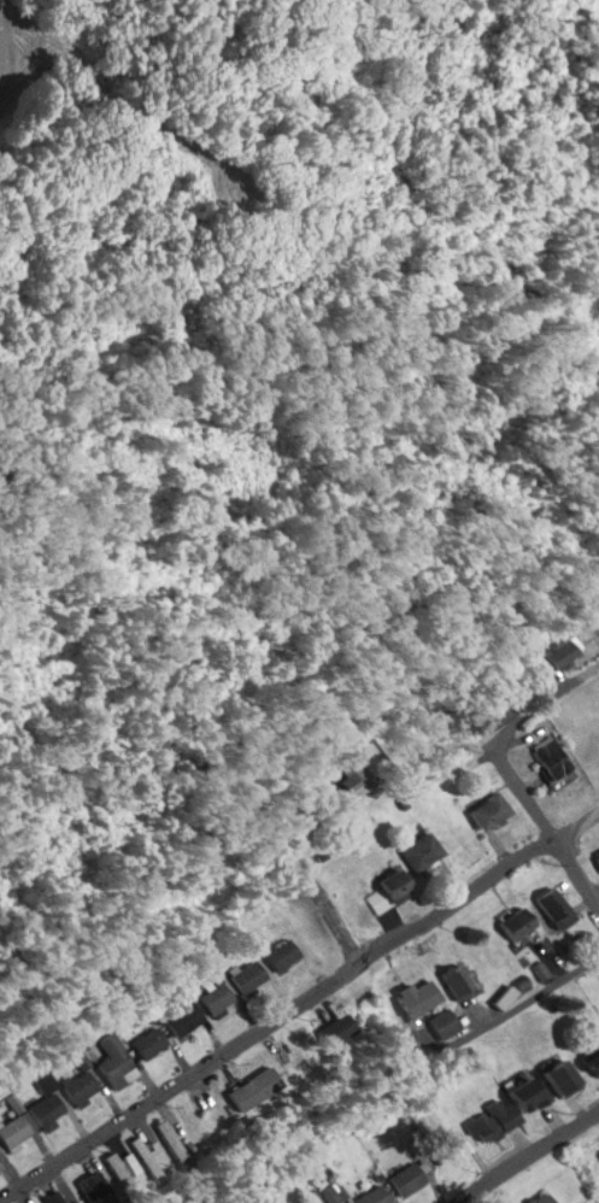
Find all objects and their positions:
building: (557, 651)
building: (493, 714)
road: (501, 732)
building: (548, 758)
building: (347, 775)
building: (487, 809)
building: (418, 850)
building: (597, 857)
road: (576, 869)
building: (386, 890)
road: (323, 897)
building: (554, 905)
building: (515, 921)
building: (282, 953)
building: (251, 975)
building: (456, 980)
building: (216, 996)
building: (416, 996)
road: (300, 1004)
road: (512, 1008)
building: (183, 1016)
building: (441, 1022)
building: (333, 1028)
building: (149, 1041)
building: (114, 1058)
building: (591, 1062)
building: (269, 1074)
building: (559, 1076)
building: (82, 1085)
building: (506, 1109)
building: (31, 1119)
building: (189, 1123)
building: (171, 1143)
road: (527, 1155)
building: (143, 1157)
building: (121, 1174)
building: (405, 1176)
building: (95, 1187)
building: (372, 1196)
building: (52, 1197)
building: (540, 1198)

